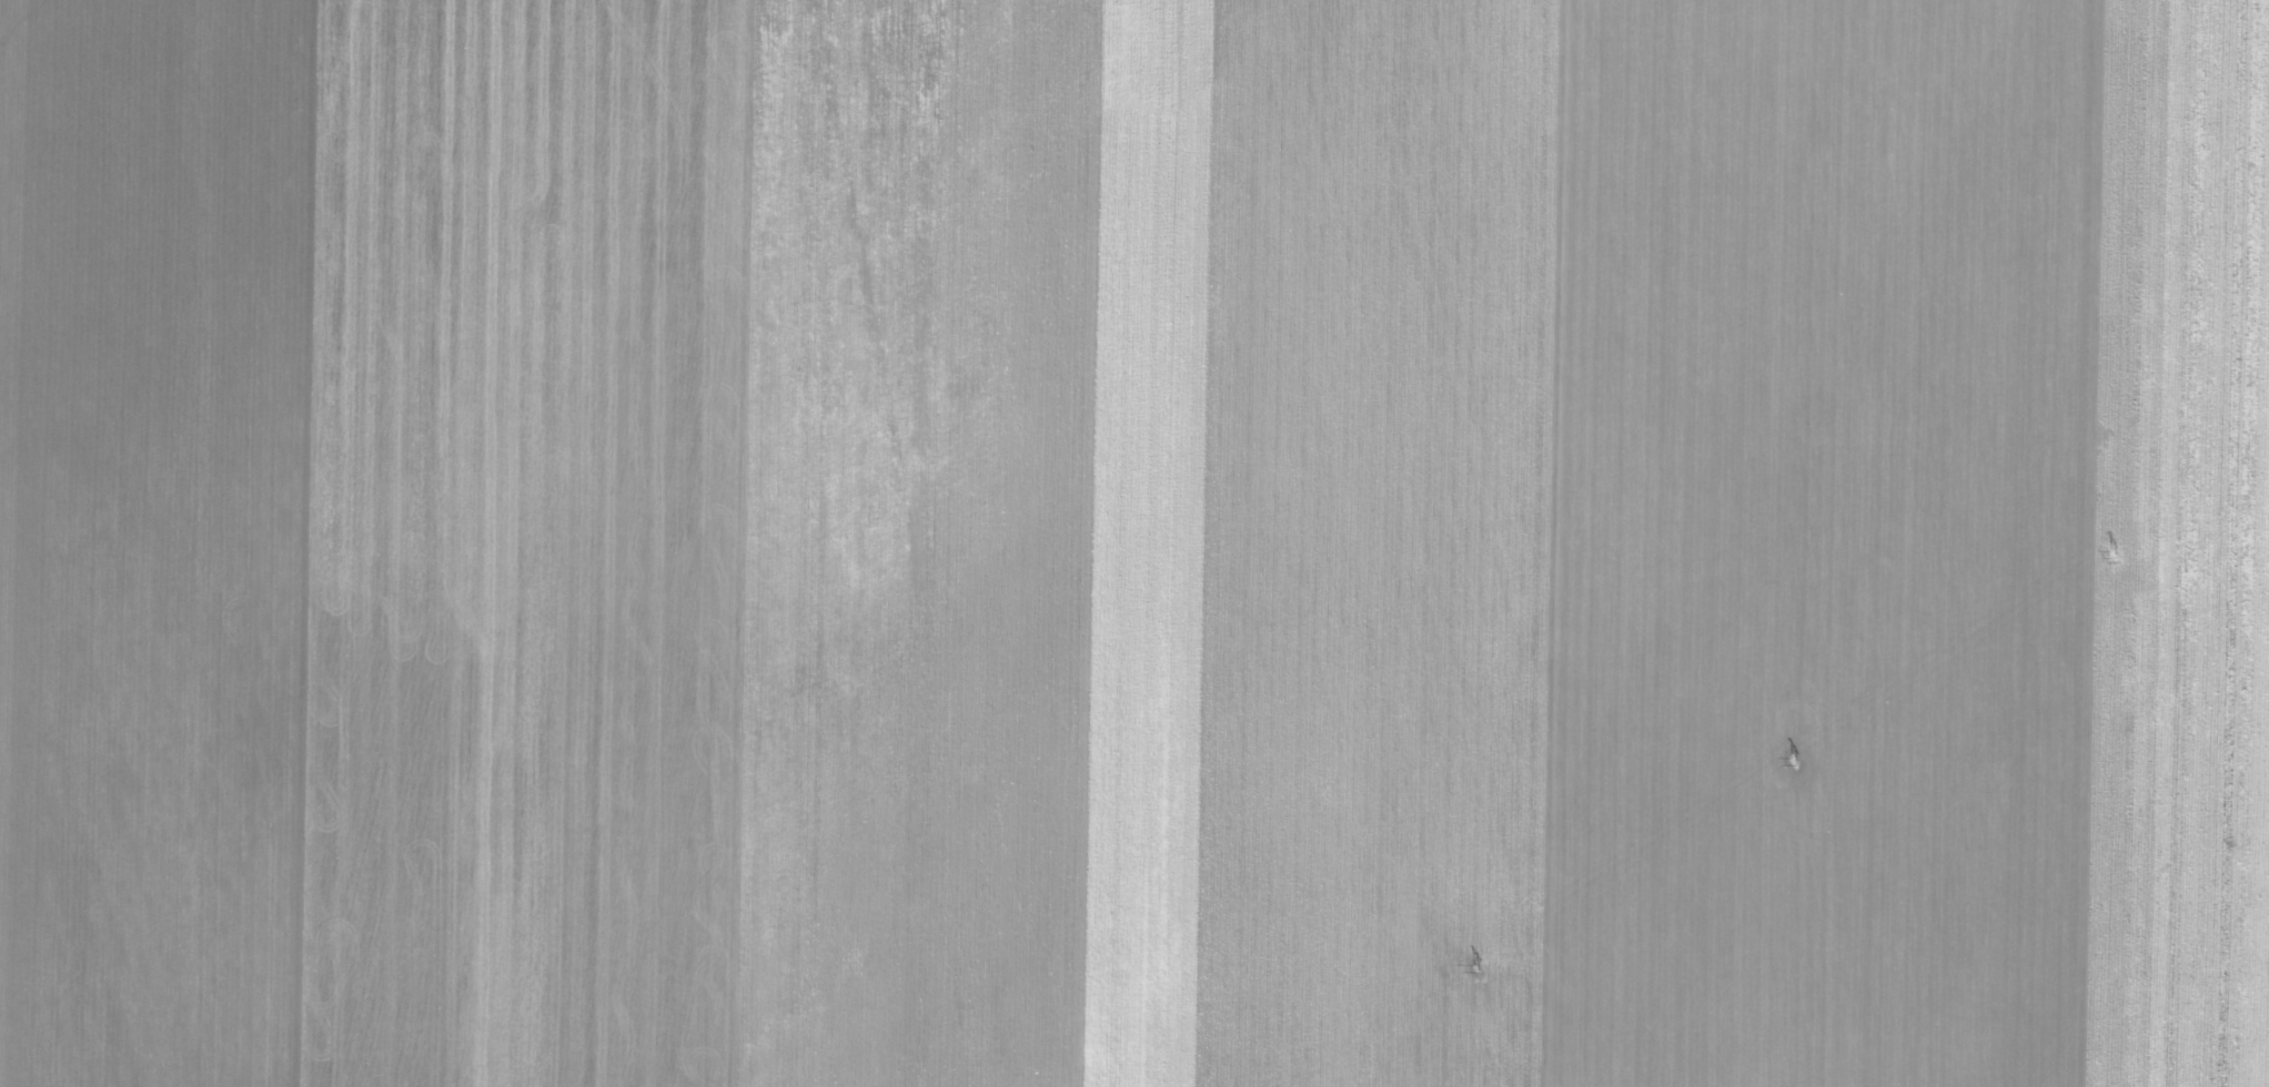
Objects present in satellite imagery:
power tower: (2115, 549)
power tower: (1793, 759)
power tower: (1476, 964)

